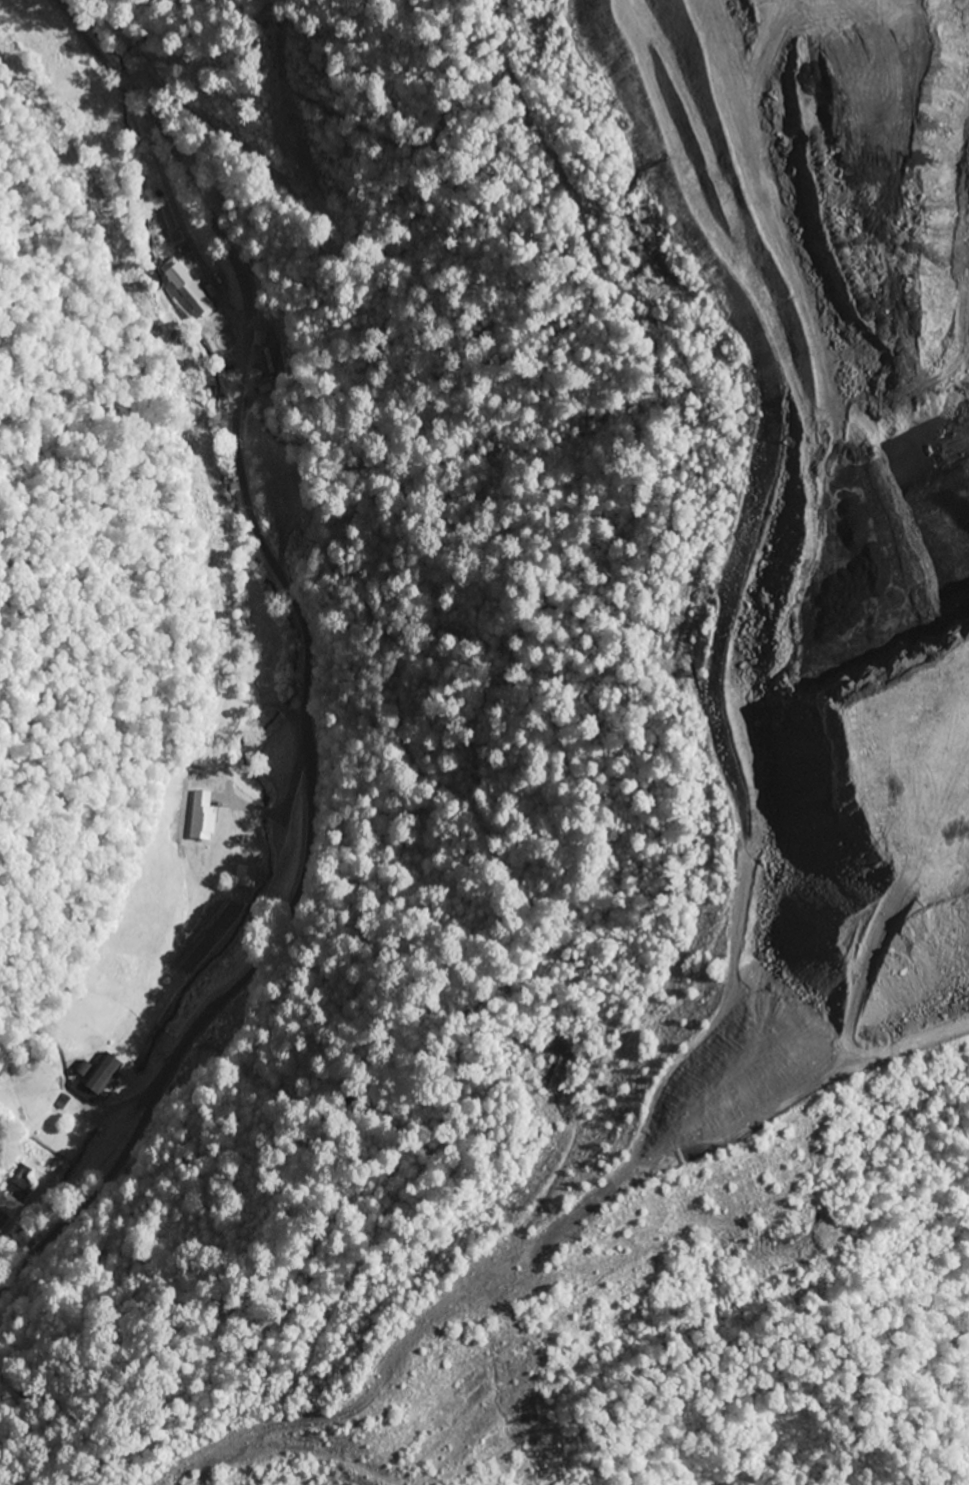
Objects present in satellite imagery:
building: (194, 297)
road: (301, 622)
building: (201, 816)
building: (244, 877)
road: (166, 1073)
building: (100, 1075)
building: (18, 1184)
building: (2, 1220)

